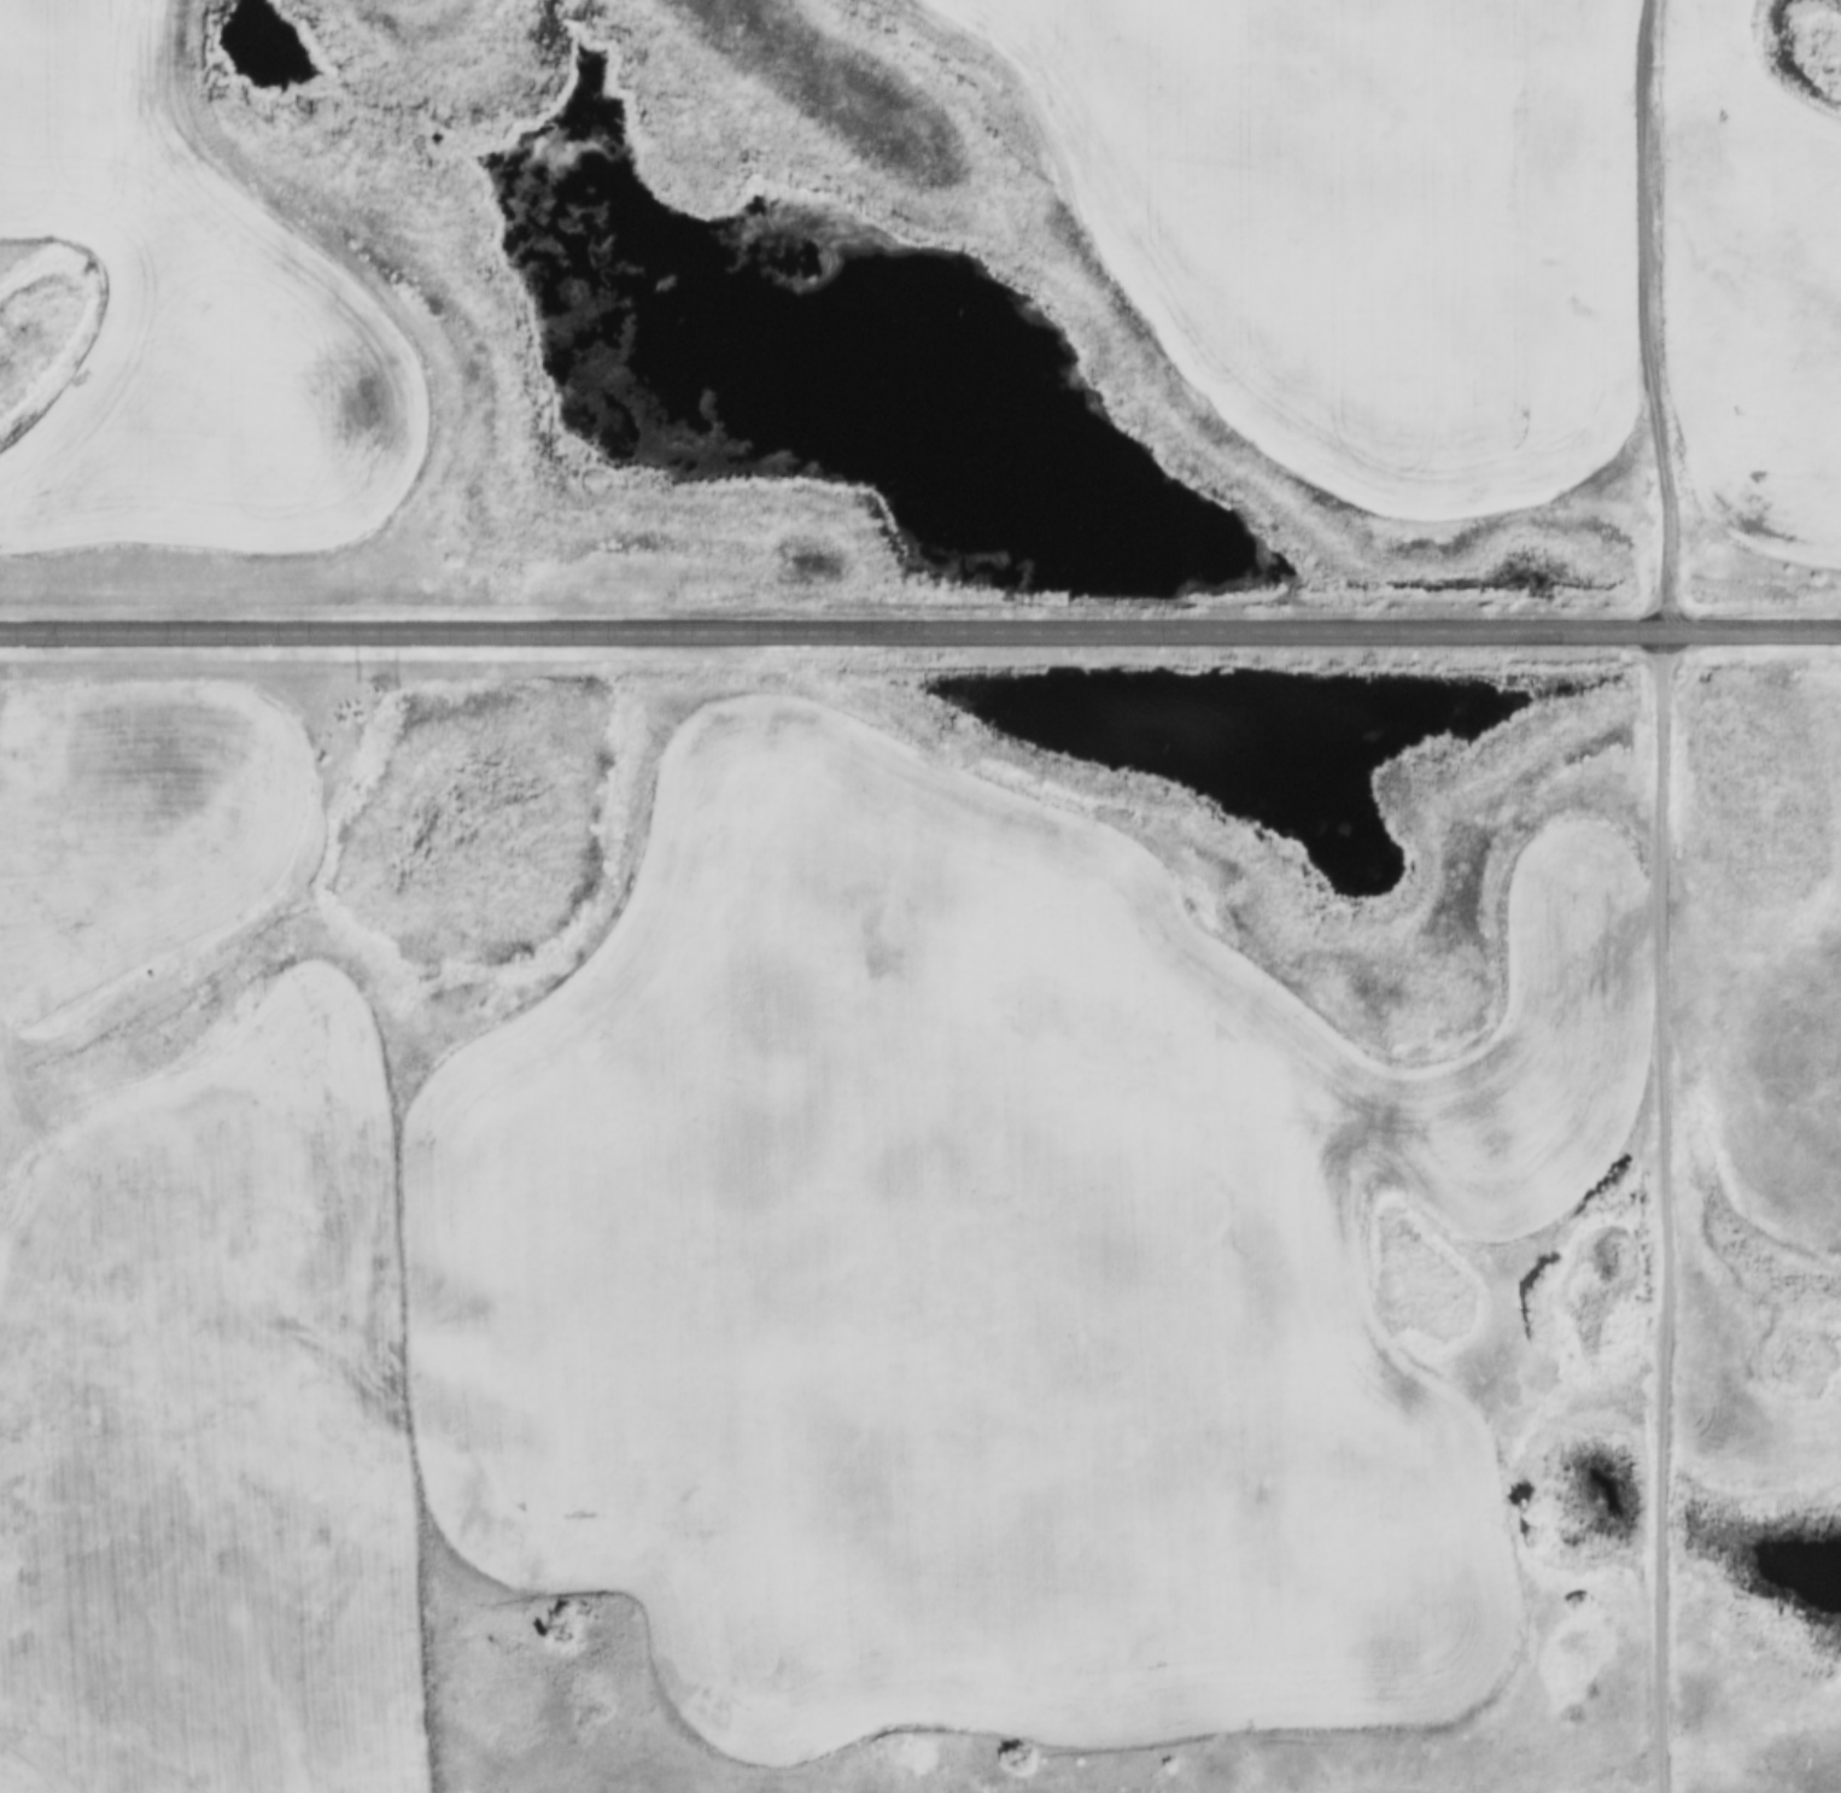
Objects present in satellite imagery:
road: (919, 632)
road: (1664, 895)

